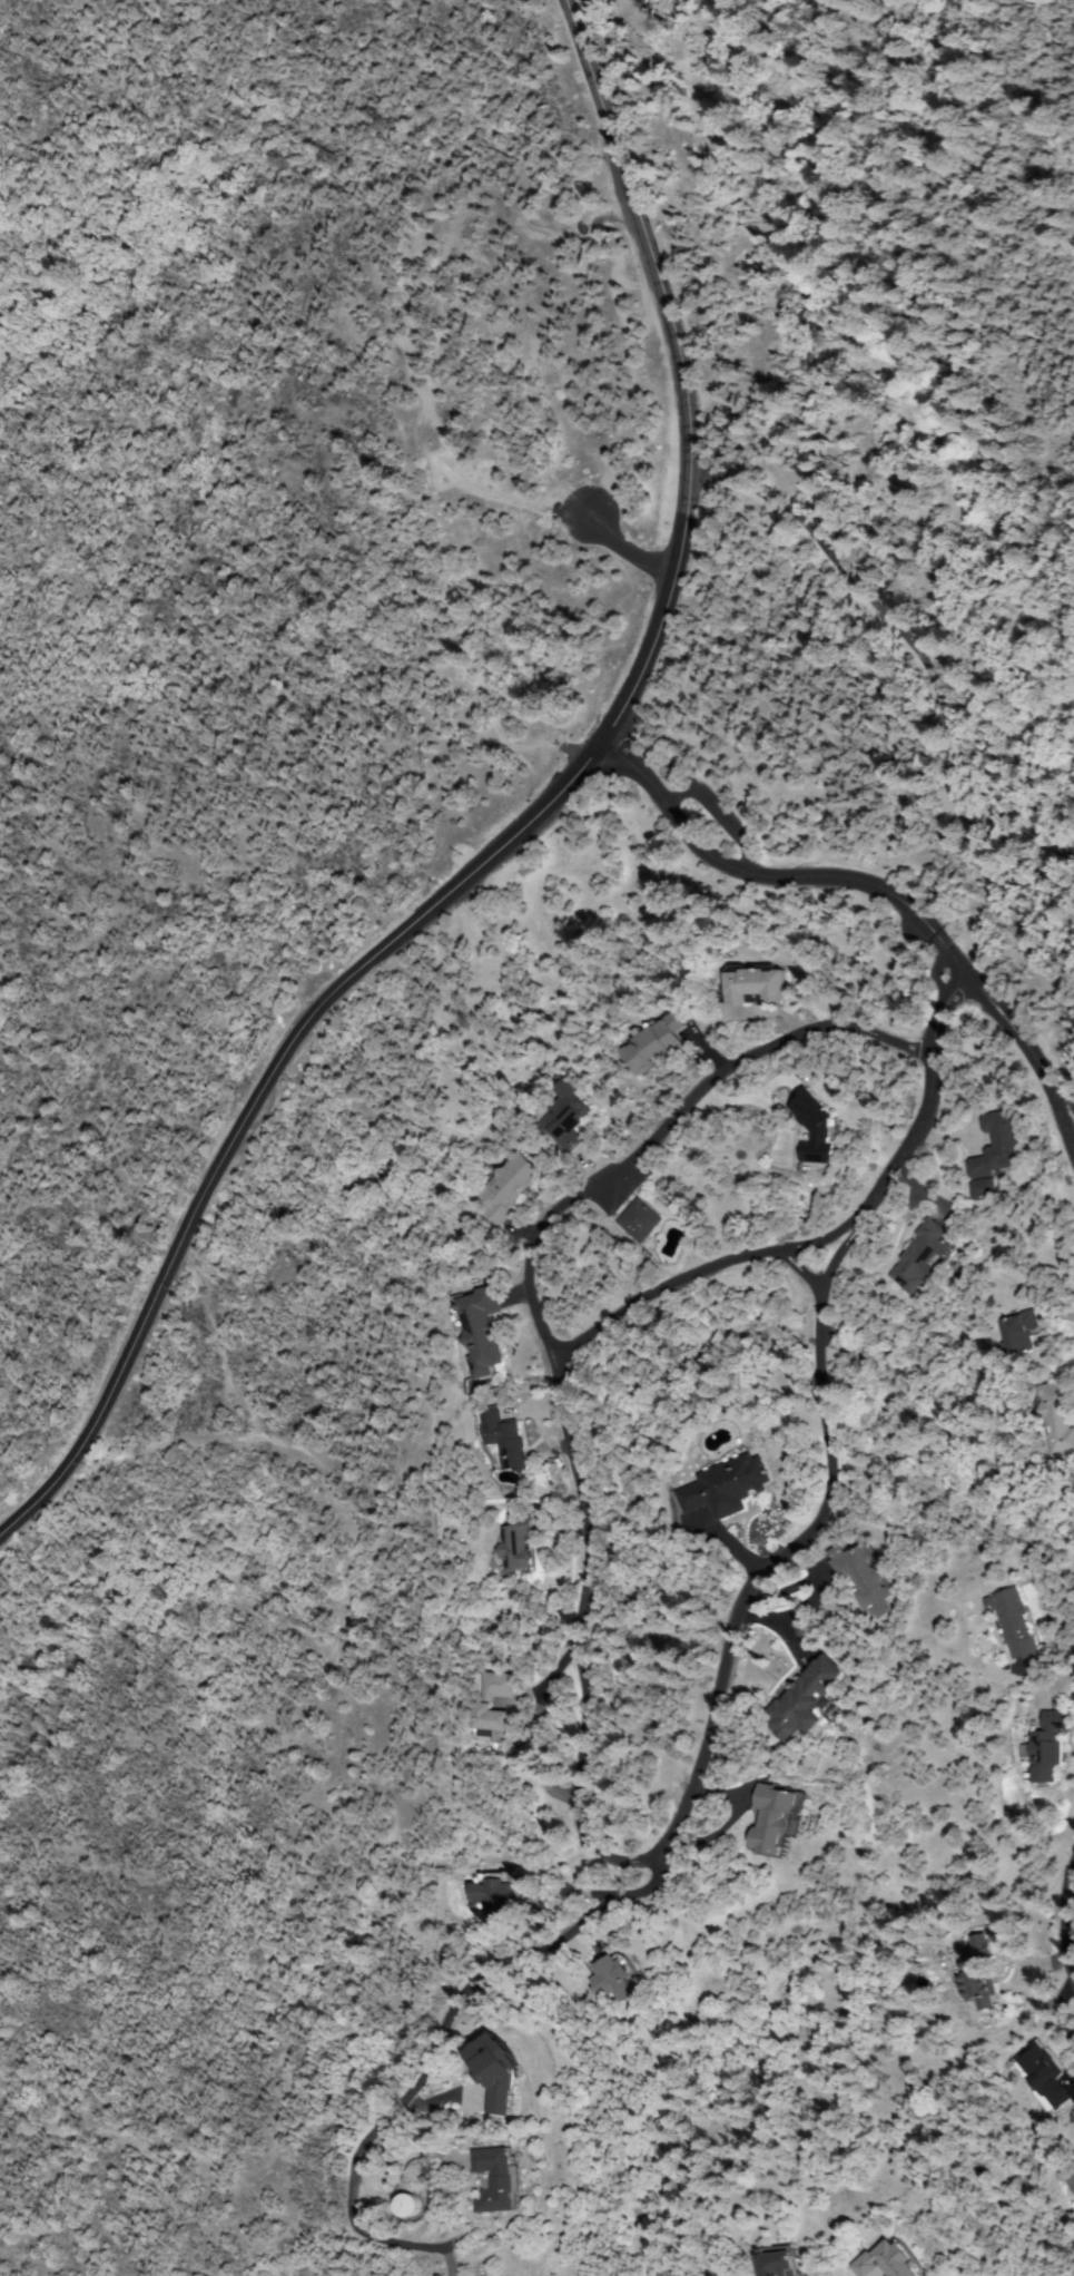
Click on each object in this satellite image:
road: (1018, 133)
road: (674, 371)
road: (883, 899)
building: (752, 983)
building: (653, 1043)
road: (253, 1107)
building: (568, 1115)
building: (815, 1127)
building: (998, 1146)
building: (508, 1187)
building: (984, 1189)
building: (639, 1220)
road: (832, 1244)
building: (920, 1257)
building: (480, 1330)
building: (1021, 1335)
building: (1057, 1415)
building: (503, 1439)
building: (726, 1488)
building: (516, 1544)
building: (864, 1577)
building: (1013, 1623)
road: (571, 1686)
building: (808, 1700)
building: (483, 1706)
building: (1047, 1747)
building: (775, 1818)
building: (494, 1894)
road: (623, 1917)
road: (1071, 1939)
building: (977, 1975)
building: (614, 1976)
building: (1043, 2074)
building: (494, 2076)
building: (499, 2179)
building: (1072, 2179)
building: (405, 2205)
storage tank: (408, 2205)
building: (777, 2262)
building: (889, 2262)

